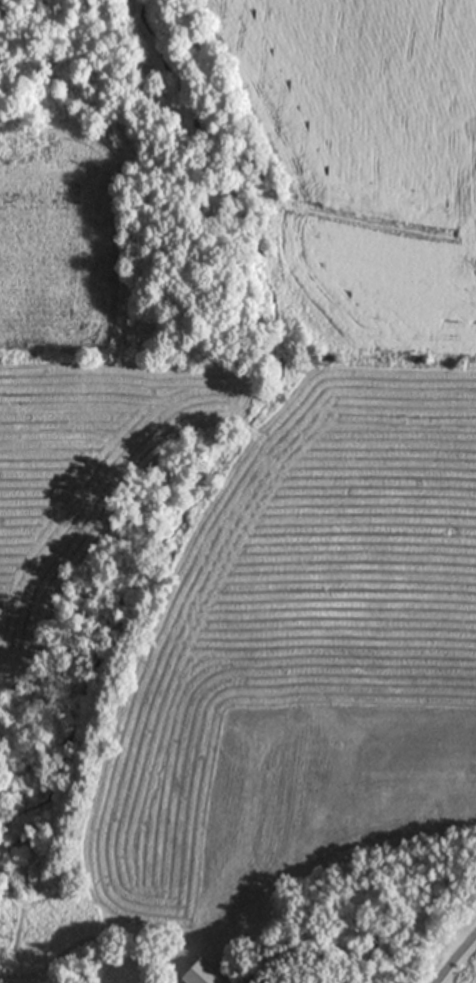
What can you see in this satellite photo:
road: (455, 956)
building: (196, 974)

